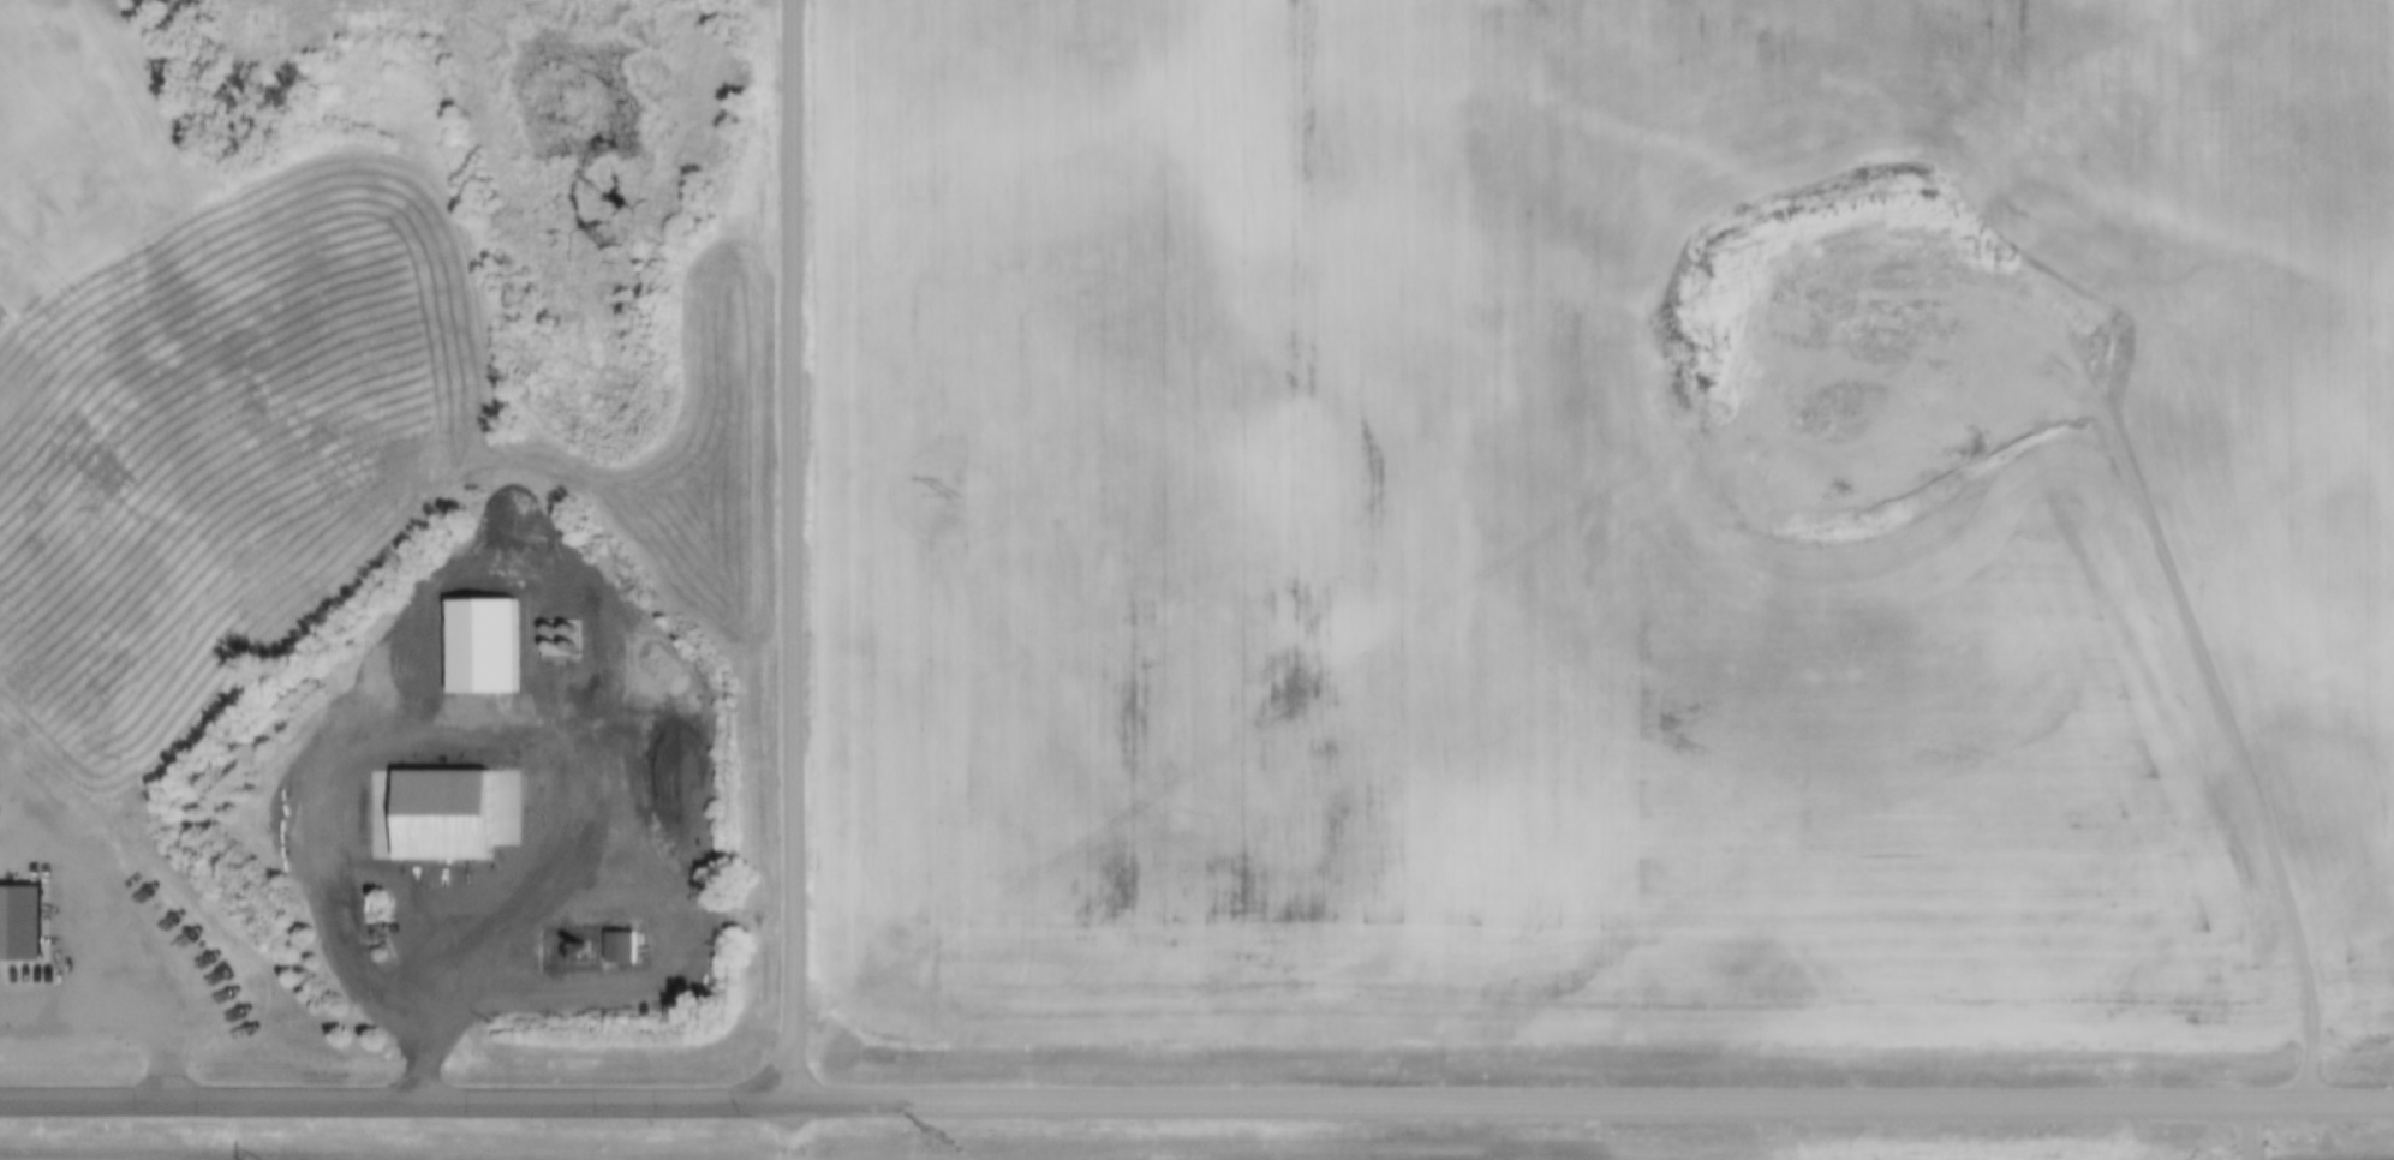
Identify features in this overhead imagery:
quarry: (1864, 354)
road: (783, 549)
storage tank: (547, 629)
storage tank: (565, 629)
building: (478, 646)
storage tank: (547, 646)
storage tank: (565, 646)
building: (436, 814)
building: (8, 926)
building: (417, 935)
building: (486, 941)
building: (498, 943)
building: (615, 946)
road: (453, 992)
road: (1196, 1099)

